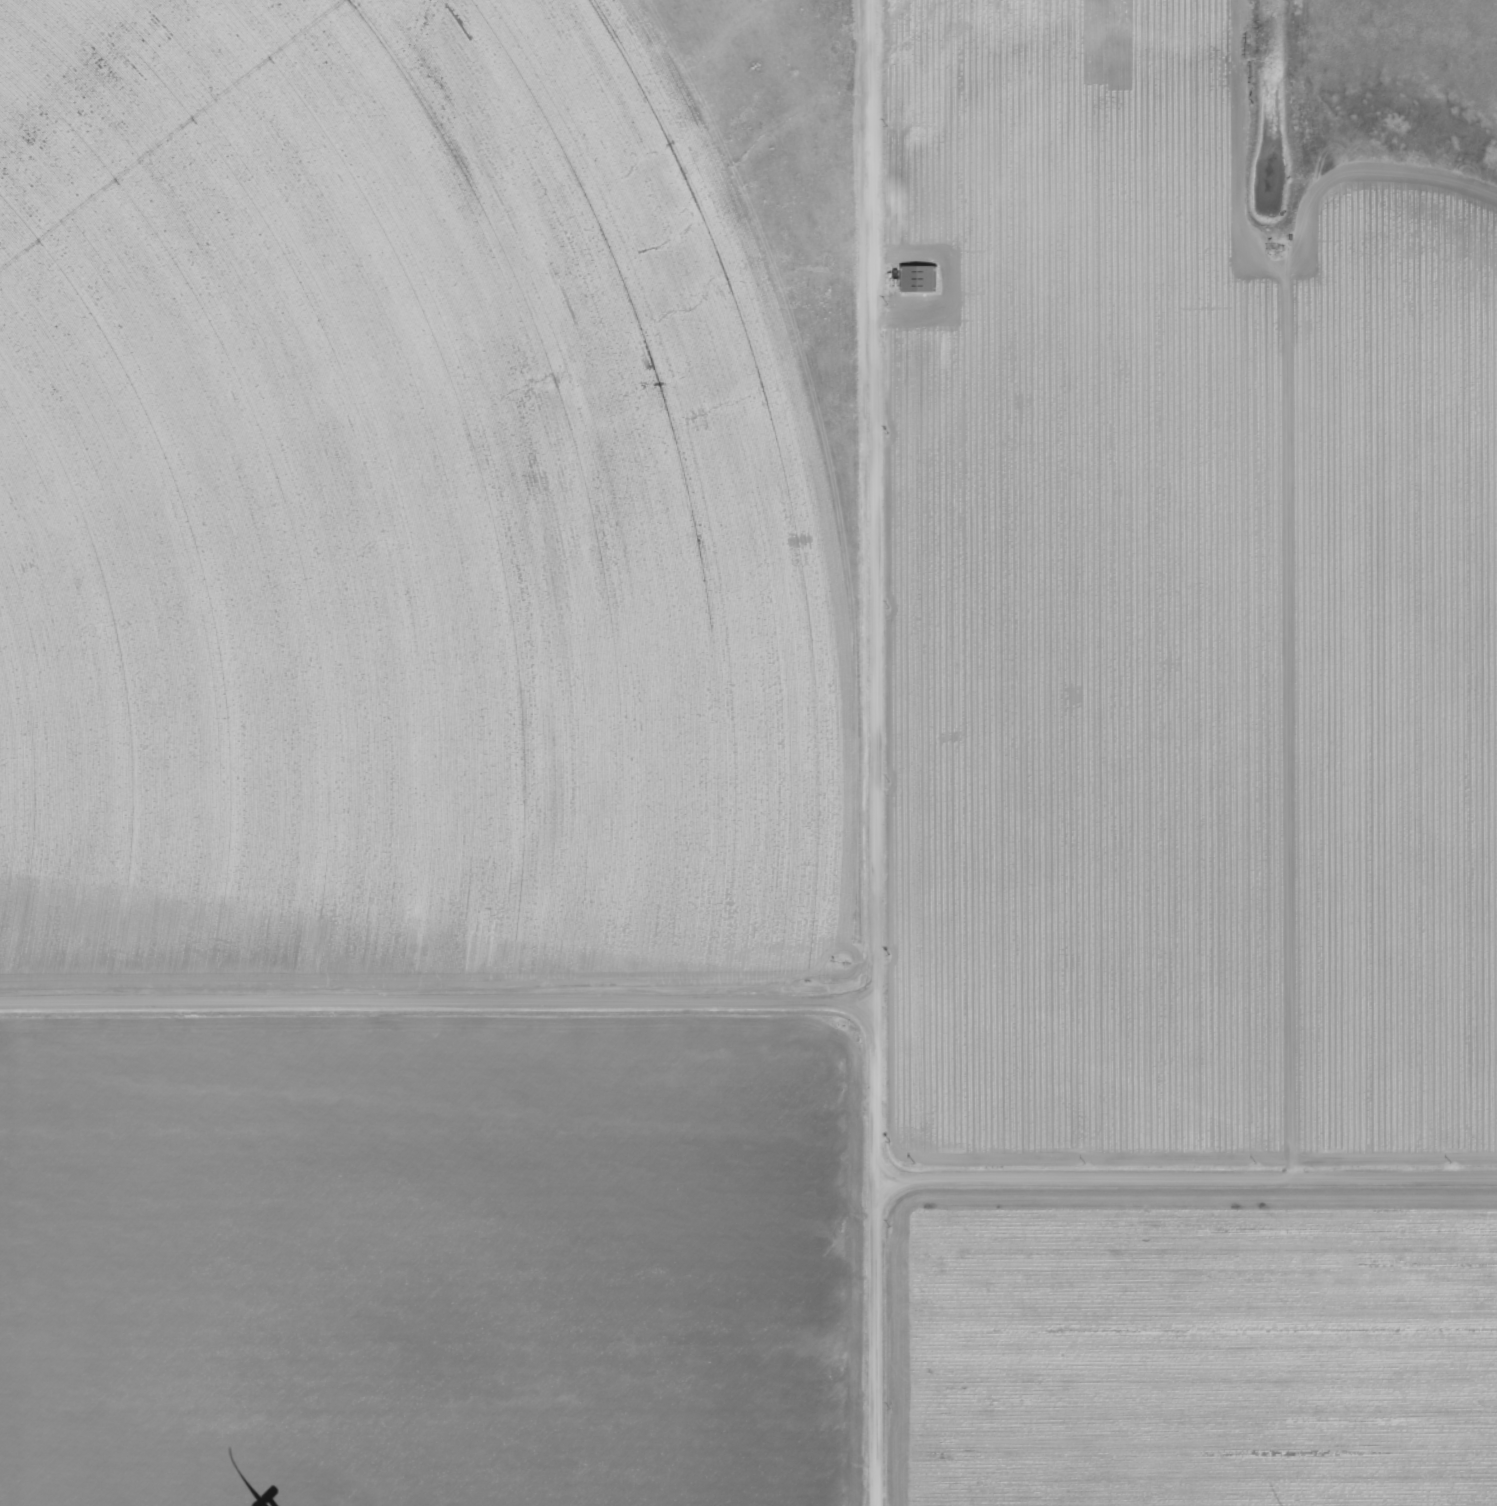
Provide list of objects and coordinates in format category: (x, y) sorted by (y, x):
road: (1062, 197)
building: (925, 279)
road: (863, 753)
road: (431, 980)
road: (1185, 1181)

